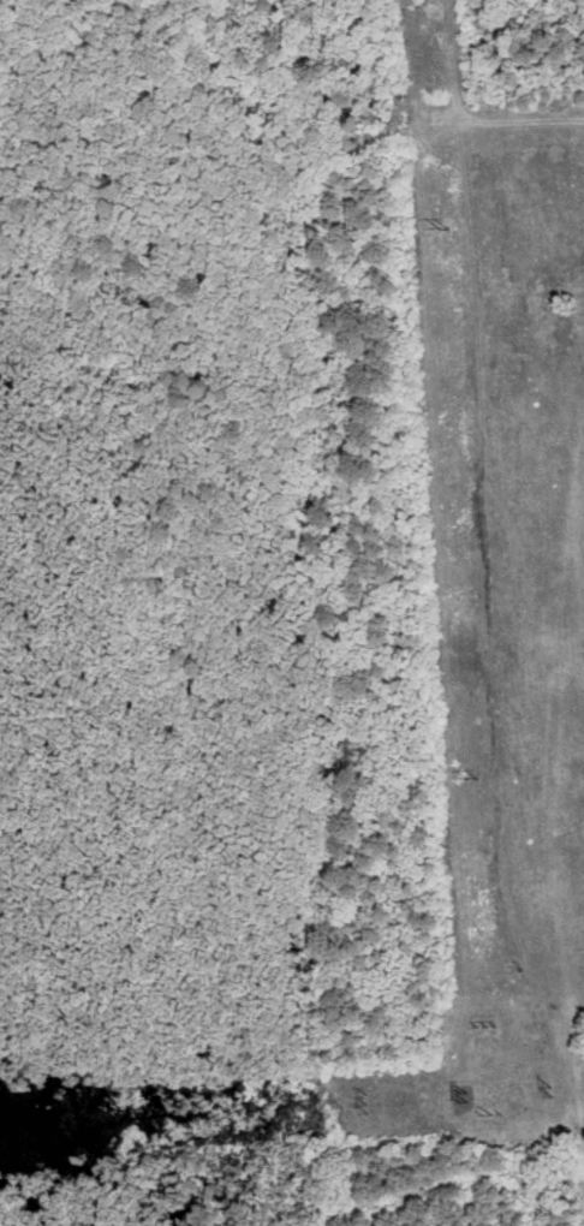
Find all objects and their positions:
power tower: (443, 227)
power tower: (472, 779)
building: (530, 1022)
power tower: (484, 1025)
power tower: (550, 1091)
power tower: (481, 1099)
power tower: (463, 1100)
power tower: (369, 1107)

